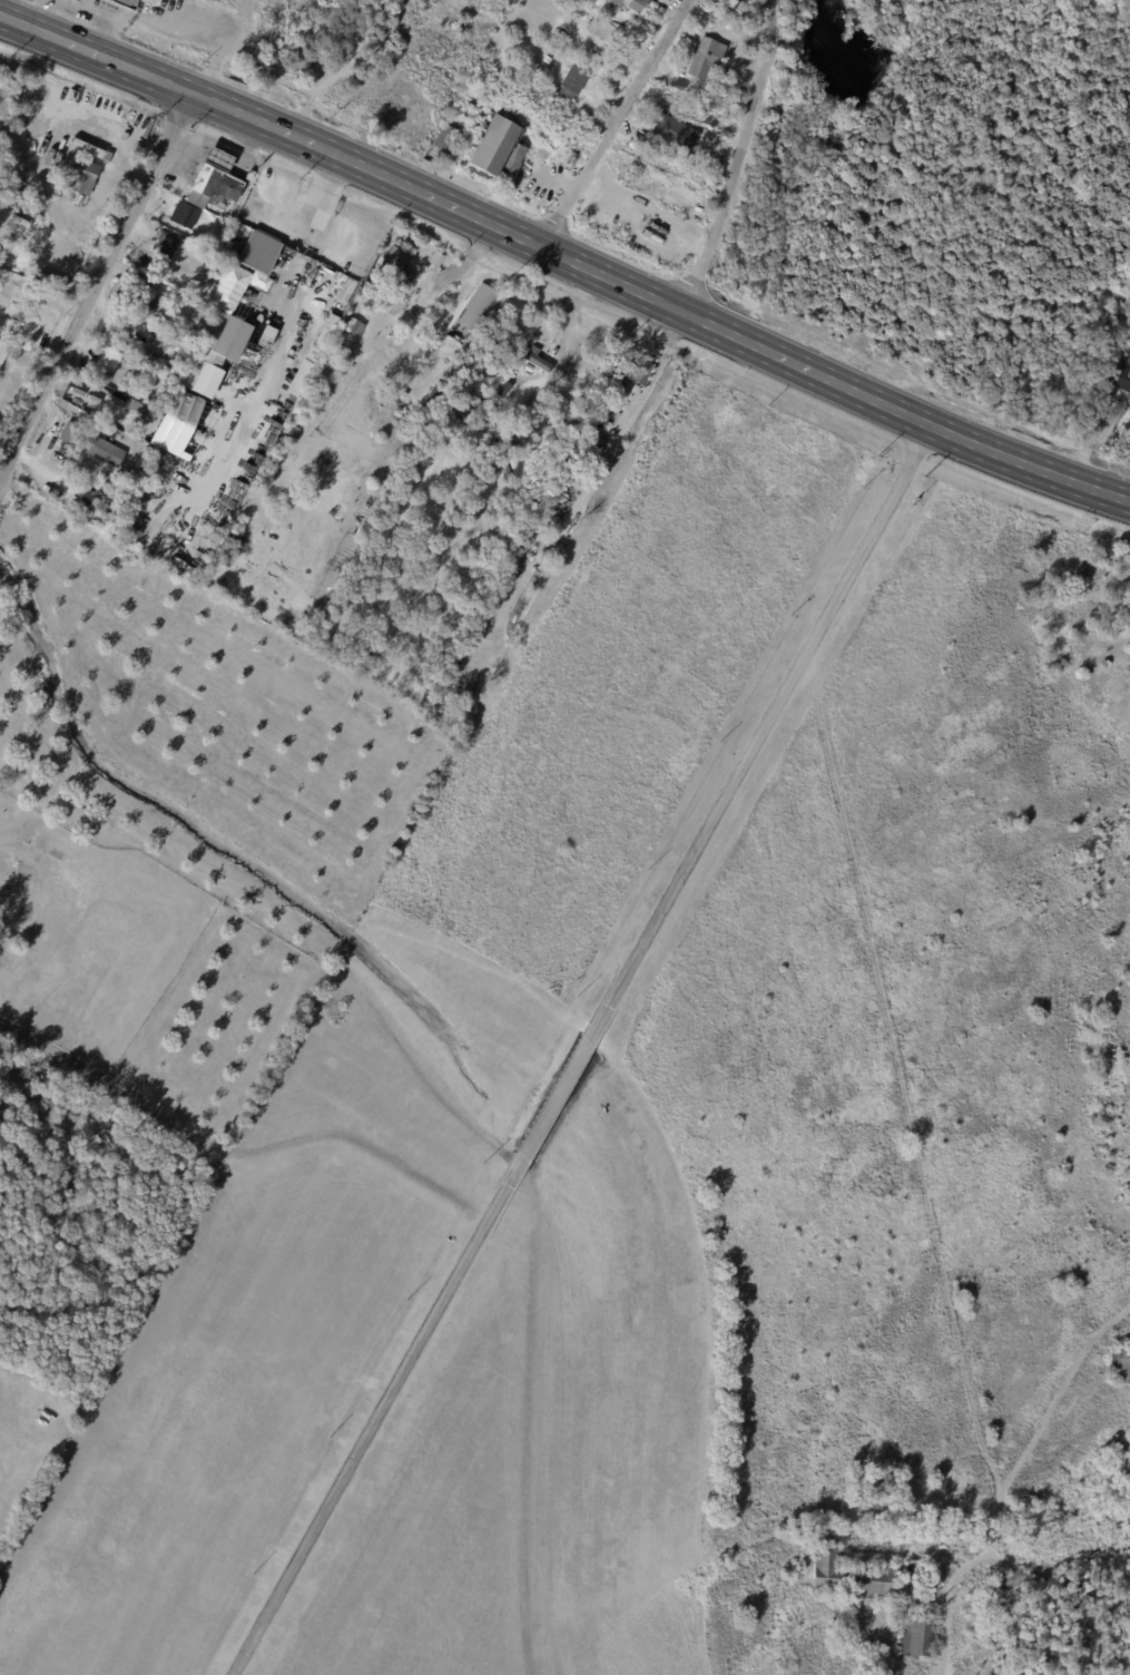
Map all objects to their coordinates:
building: (549, 1)
building: (126, 3)
building: (726, 3)
building: (627, 4)
road: (81, 7)
road: (195, 23)
building: (611, 35)
building: (704, 59)
building: (546, 60)
building: (571, 84)
building: (677, 87)
building: (474, 105)
building: (710, 126)
road: (618, 127)
building: (672, 134)
building: (446, 139)
building: (497, 150)
building: (218, 158)
road: (736, 159)
building: (83, 176)
building: (213, 186)
road: (323, 189)
building: (184, 215)
building: (165, 245)
building: (438, 258)
road: (562, 258)
building: (396, 266)
building: (212, 277)
road: (91, 280)
building: (344, 291)
building: (139, 297)
building: (232, 308)
building: (200, 310)
building: (472, 313)
building: (331, 323)
building: (352, 325)
building: (174, 350)
building: (139, 352)
building: (2, 353)
building: (535, 360)
building: (159, 362)
building: (105, 364)
building: (0, 366)
building: (637, 372)
building: (1121, 375)
building: (504, 390)
road: (643, 392)
building: (462, 403)
building: (1061, 413)
building: (70, 433)
building: (591, 438)
building: (147, 450)
building: (105, 452)
building: (63, 463)
building: (266, 466)
building: (392, 466)
building: (391, 490)
building: (561, 497)
building: (57, 854)
building: (10, 923)
building: (32, 937)
building: (20, 938)
building: (19, 970)
road: (586, 1051)
building: (1120, 1365)
building: (864, 1489)
building: (892, 1490)
building: (863, 1575)
building: (1008, 1583)
building: (916, 1635)

